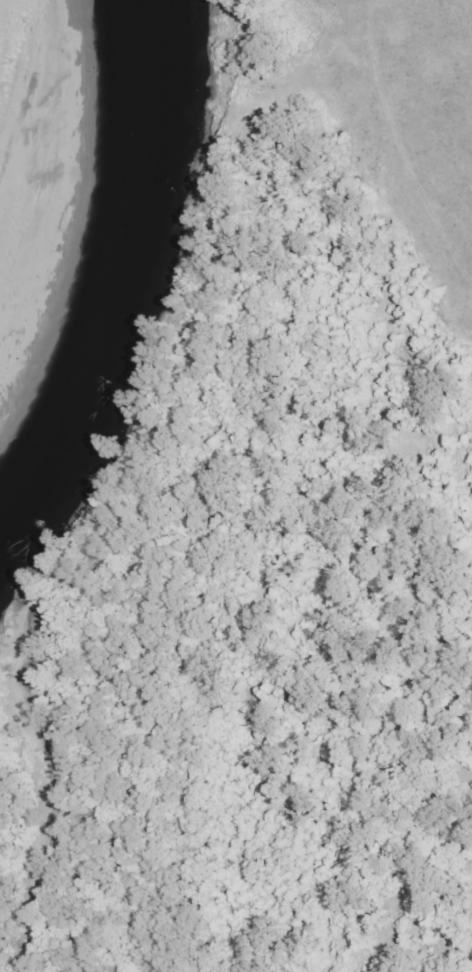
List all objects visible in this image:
river: (65, 179)

